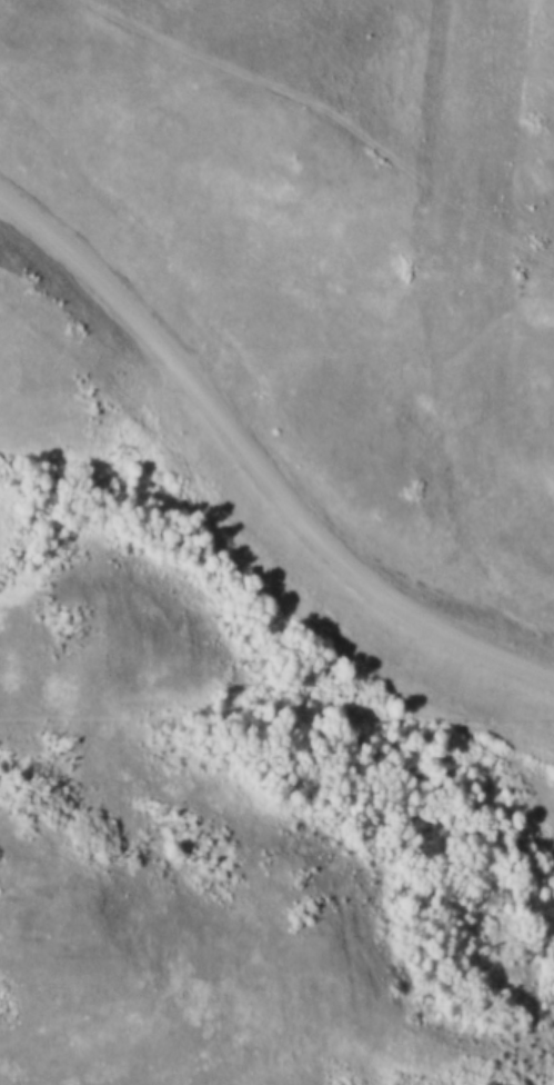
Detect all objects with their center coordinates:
road: (334, 118)
road: (250, 482)

